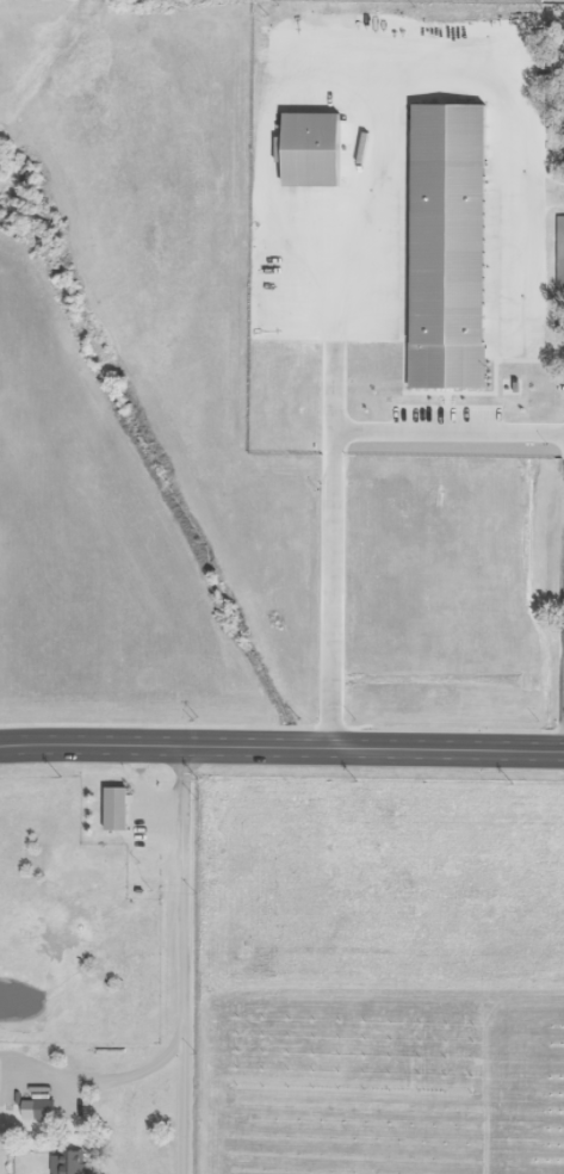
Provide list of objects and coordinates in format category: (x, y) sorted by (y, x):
building: (559, 246)
road: (447, 430)
road: (329, 587)
road: (281, 746)
building: (112, 808)
road: (190, 959)
building: (36, 1110)
building: (67, 1162)

